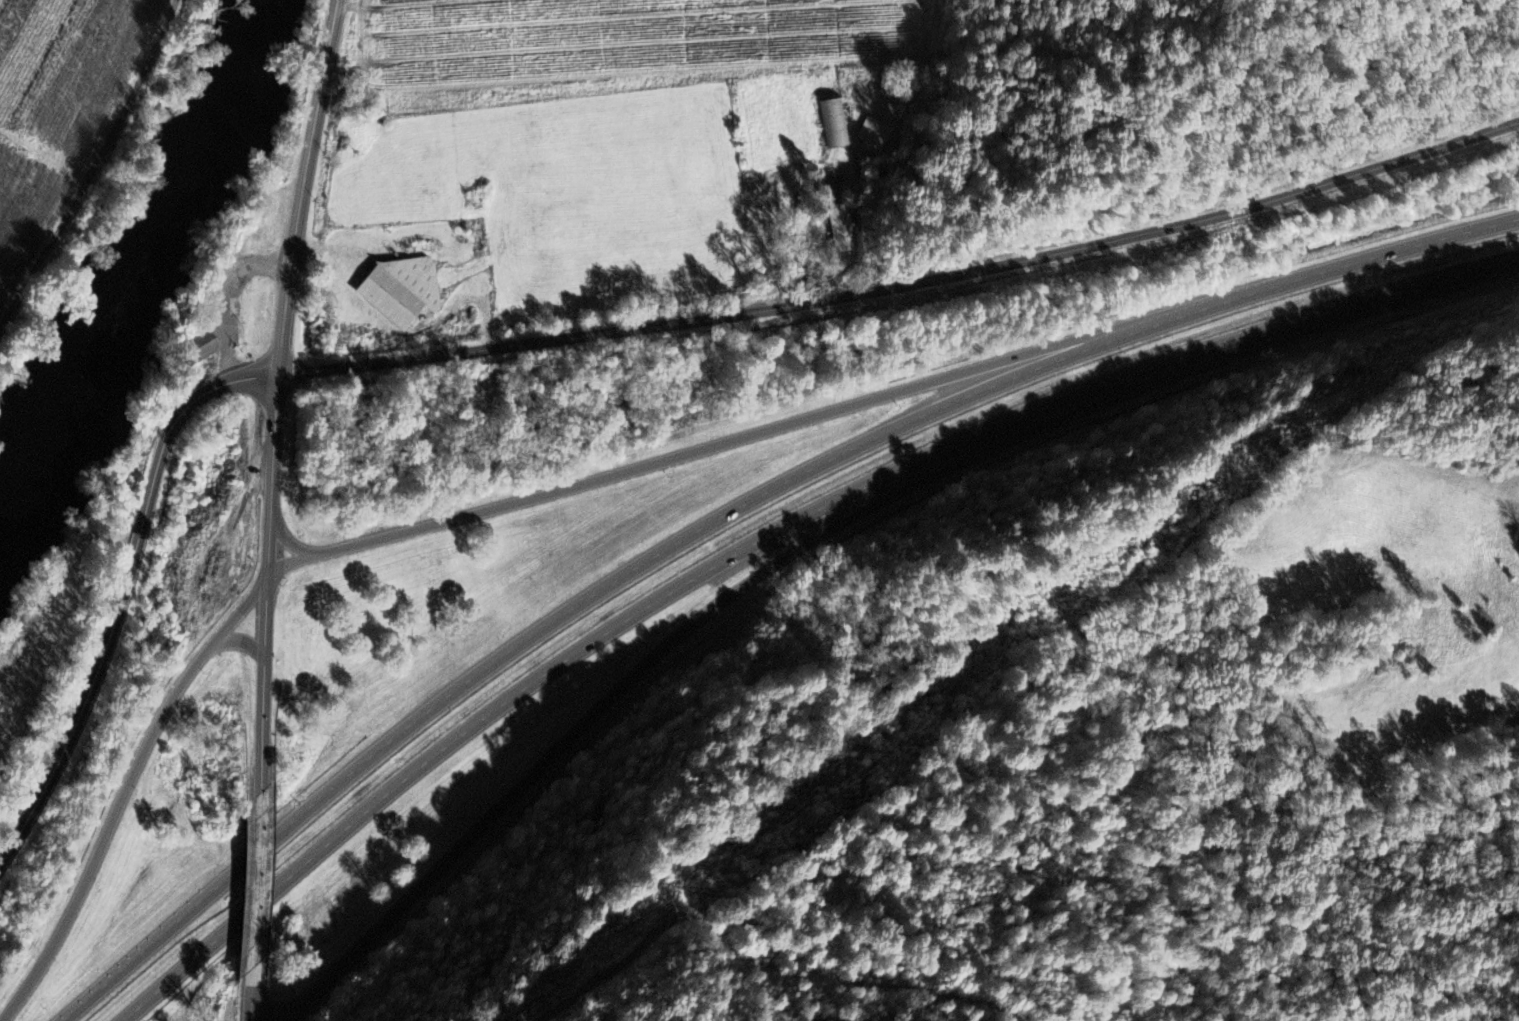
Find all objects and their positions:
building: (833, 120)
building: (873, 137)
river: (191, 223)
building: (841, 225)
building: (237, 238)
building: (414, 277)
road: (907, 284)
building: (388, 296)
power tower: (1502, 302)
building: (194, 346)
road: (279, 394)
road: (730, 441)
river: (30, 468)
building: (104, 492)
road: (731, 512)
road: (764, 537)
road: (290, 543)
road: (124, 591)
road: (697, 620)
road: (235, 641)
road: (122, 791)
power tower: (871, 793)
road: (256, 879)
road: (252, 993)

